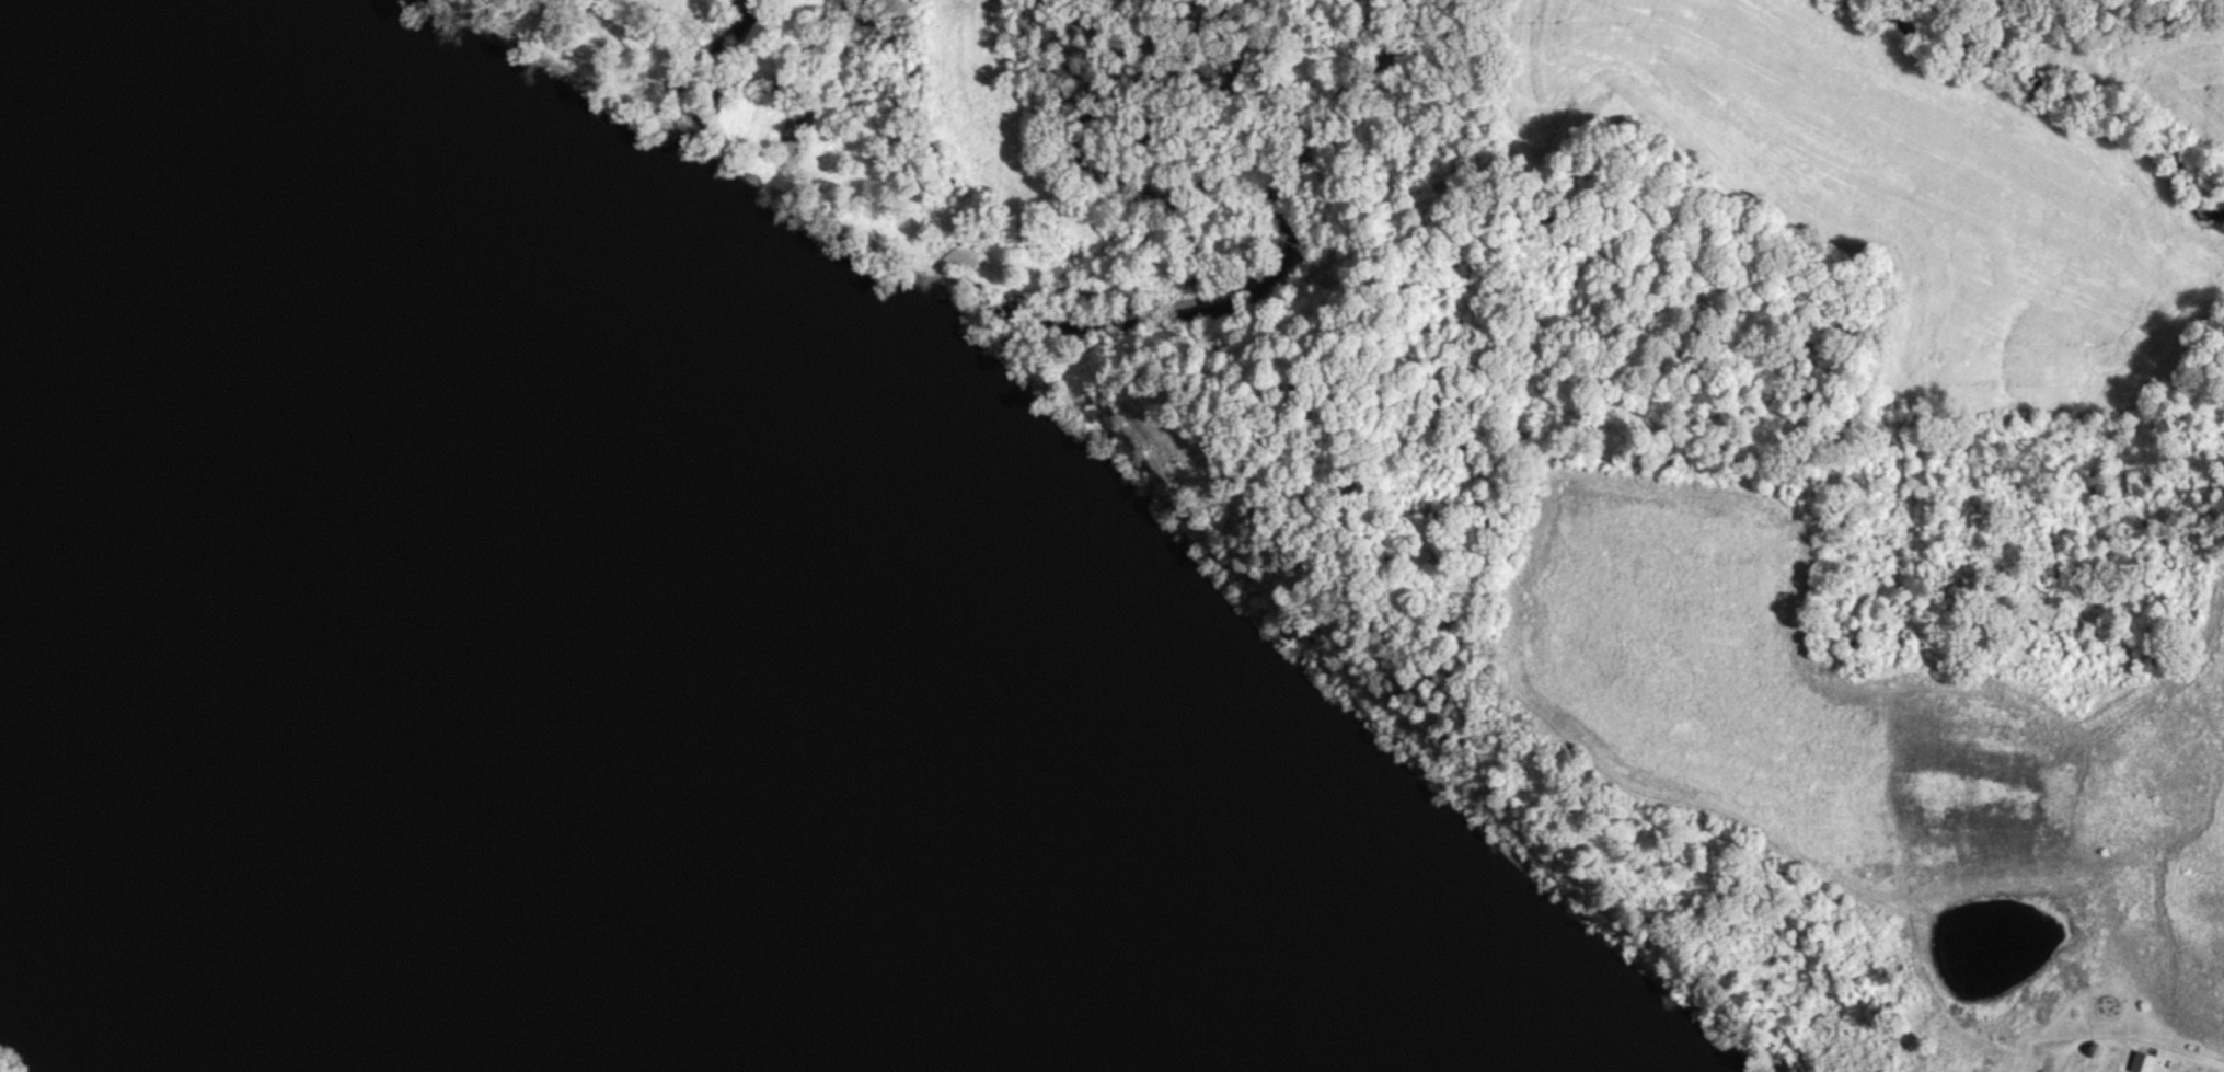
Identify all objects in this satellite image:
crop: (1868, 731)
dam: (1952, 960)
road: (2134, 1037)
building: (2142, 1061)

